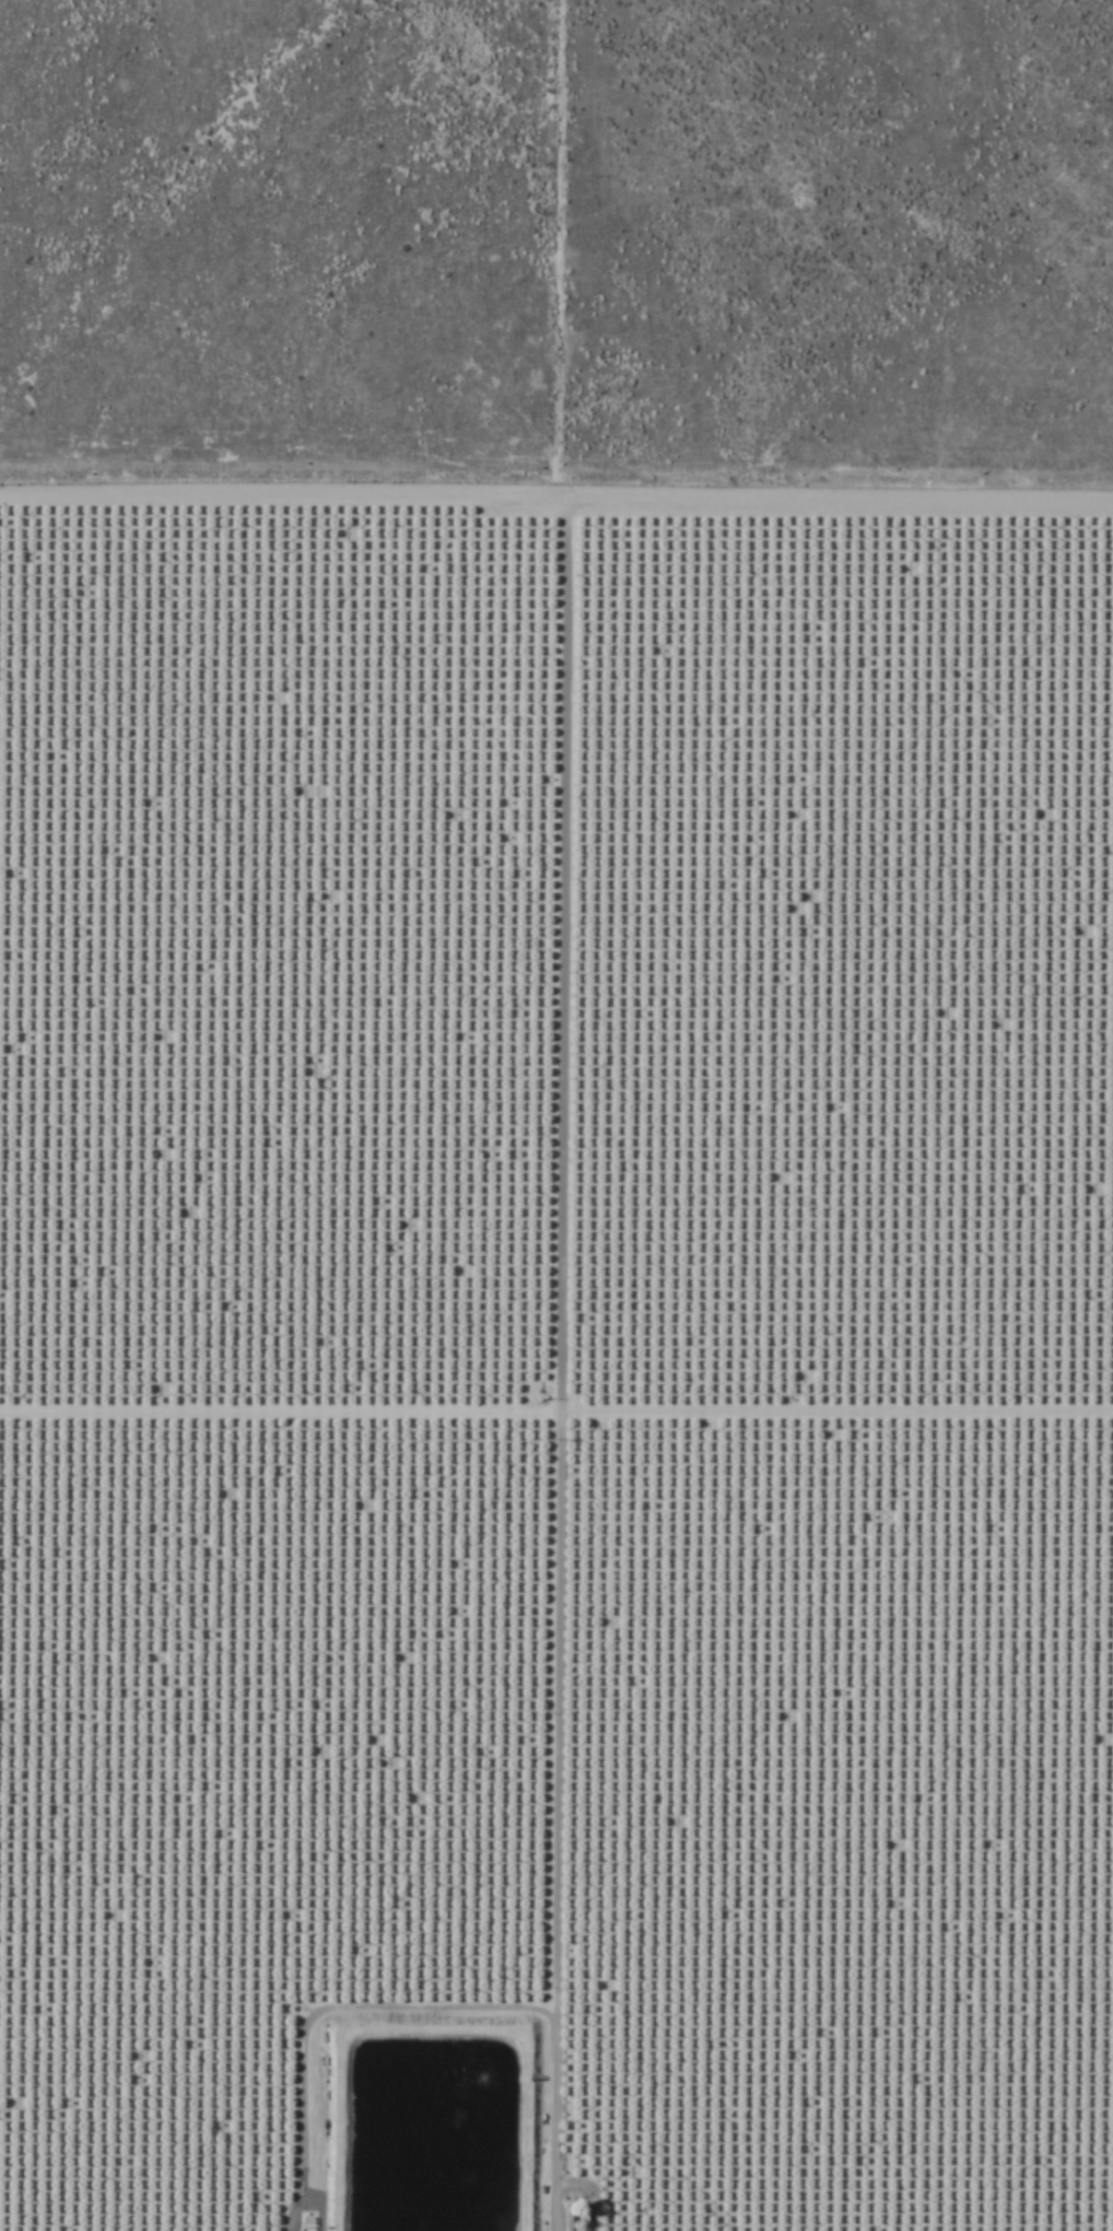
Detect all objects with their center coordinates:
road: (556, 493)
road: (527, 932)
road: (555, 1372)
wastewater plant: (431, 2134)
building: (720, 2204)

